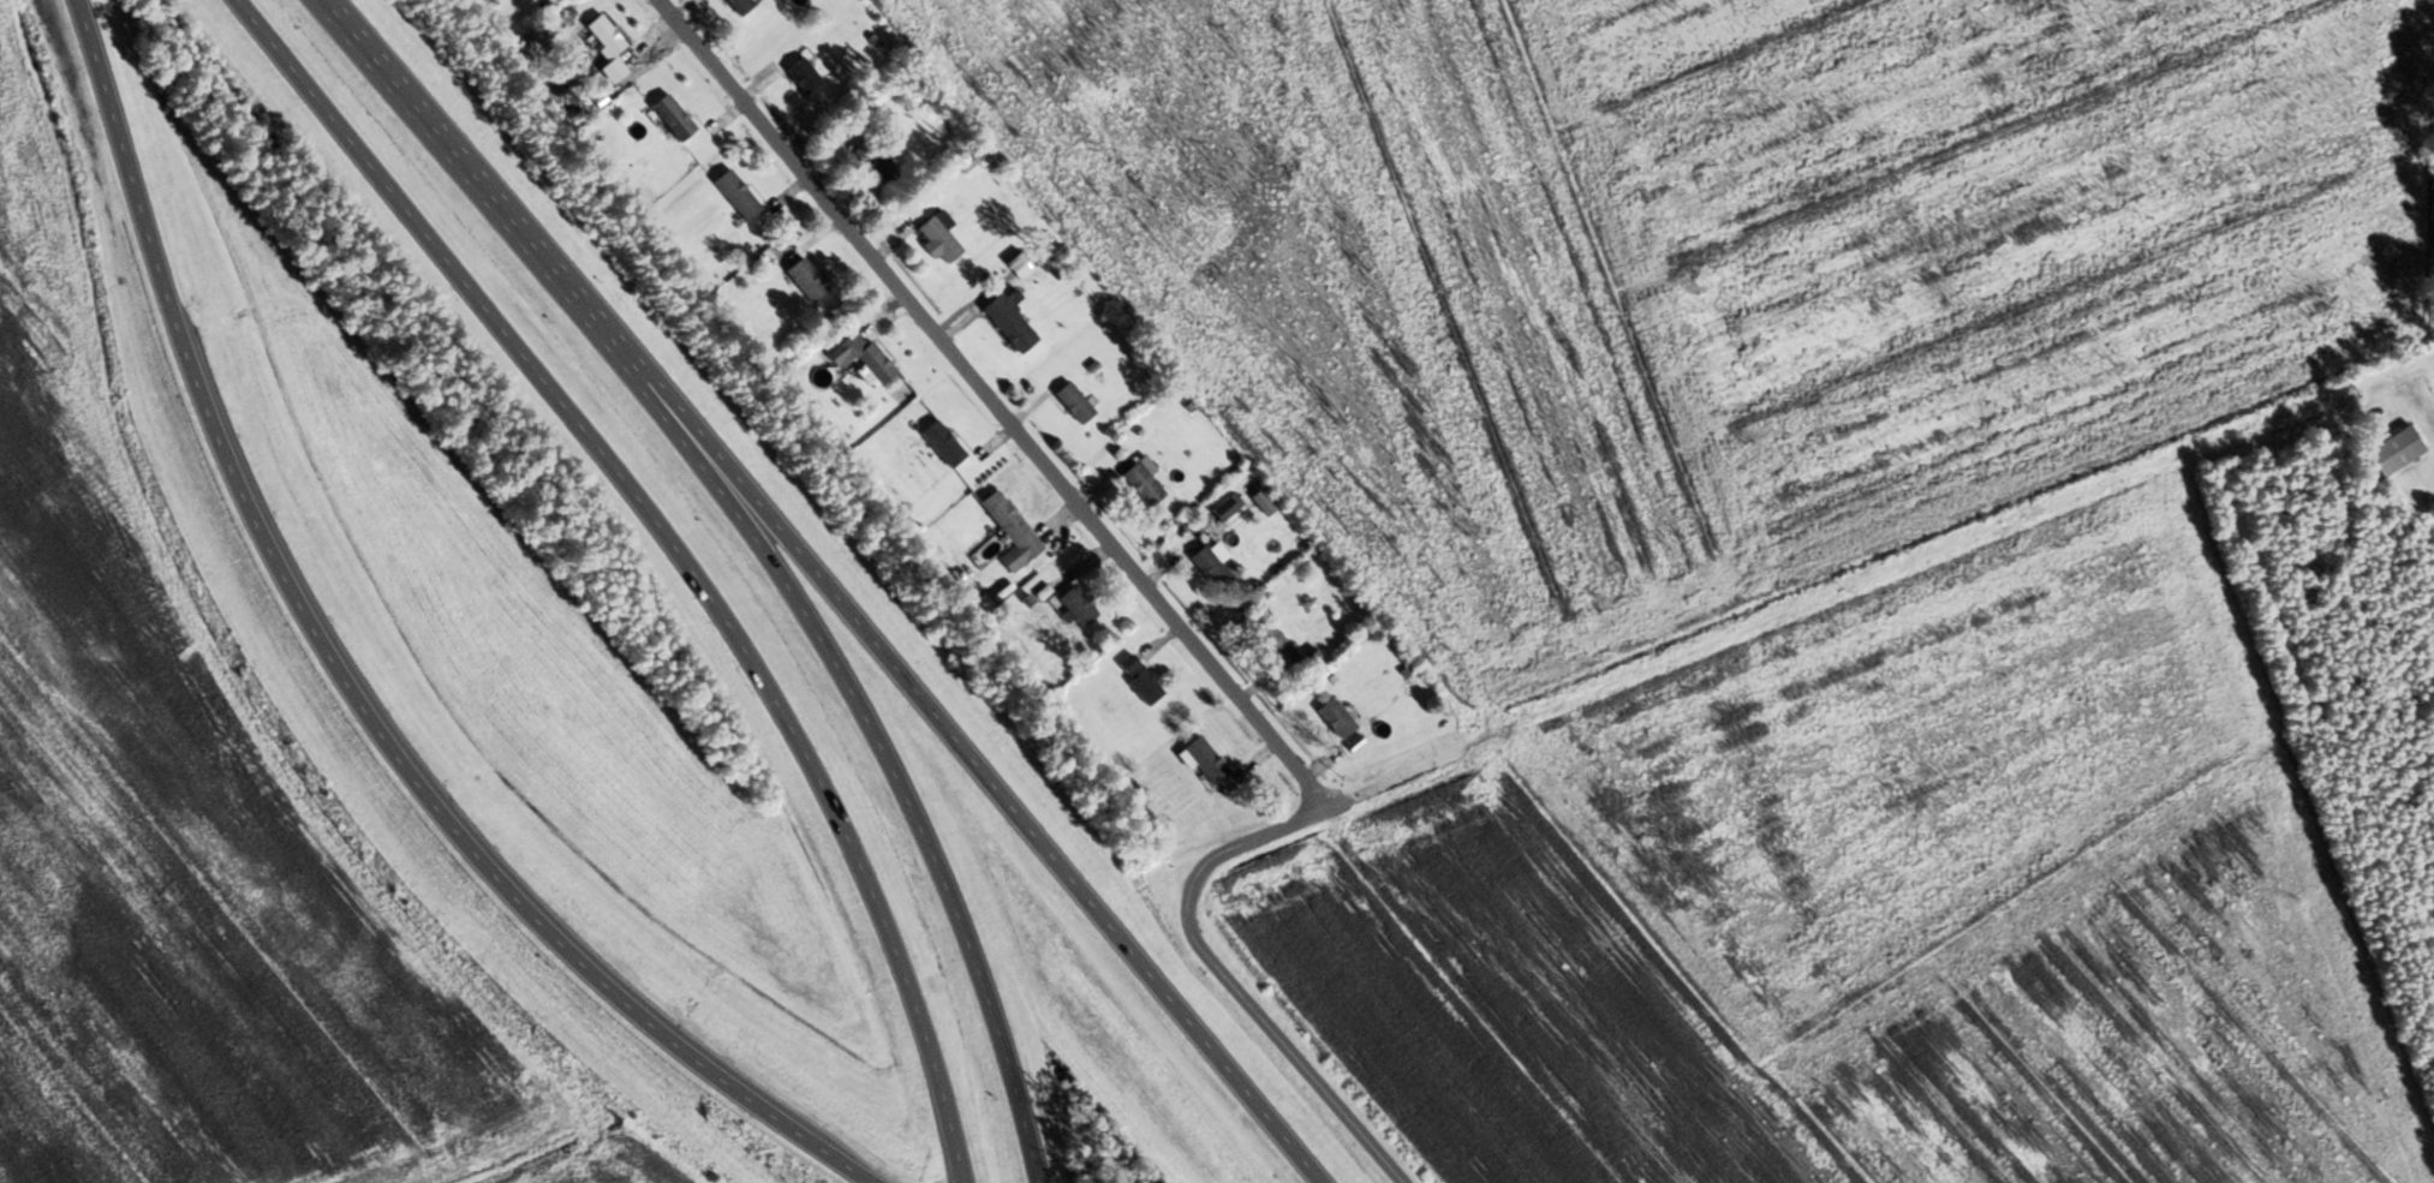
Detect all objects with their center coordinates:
building: (744, 6)
building: (609, 47)
building: (805, 76)
building: (675, 119)
road: (445, 144)
building: (878, 163)
building: (739, 196)
building: (942, 238)
building: (809, 281)
building: (1014, 323)
building: (865, 358)
road: (991, 404)
building: (1076, 404)
building: (945, 446)
building: (2398, 453)
building: (1146, 485)
building: (1227, 509)
building: (1014, 533)
road: (674, 548)
building: (1211, 567)
building: (1080, 607)
road: (1919, 620)
building: (1278, 647)
building: (1143, 680)
road: (345, 681)
road: (857, 707)
building: (1338, 719)
road: (949, 733)
building: (1204, 760)
road: (1187, 924)

